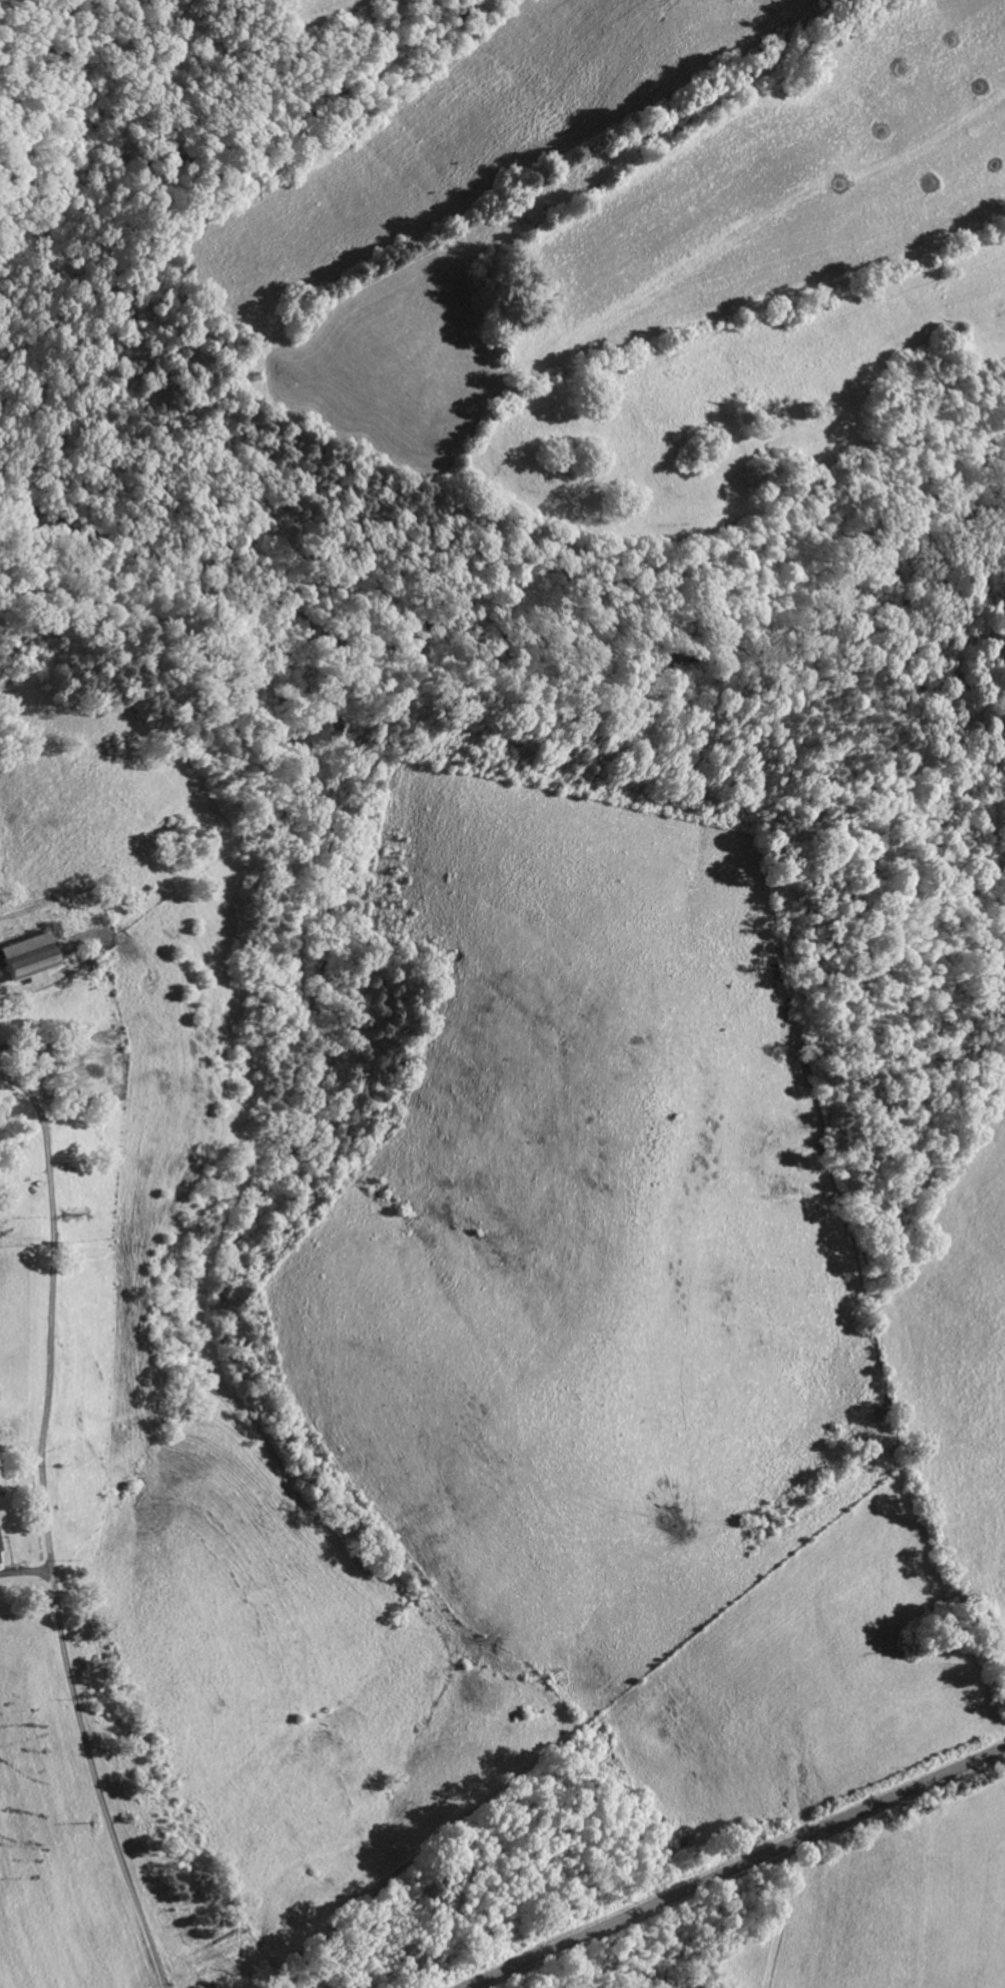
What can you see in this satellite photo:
building: (22, 956)
road: (46, 1529)
building: (0, 1549)
road: (25, 1570)
road: (737, 1868)
building: (356, 1966)

